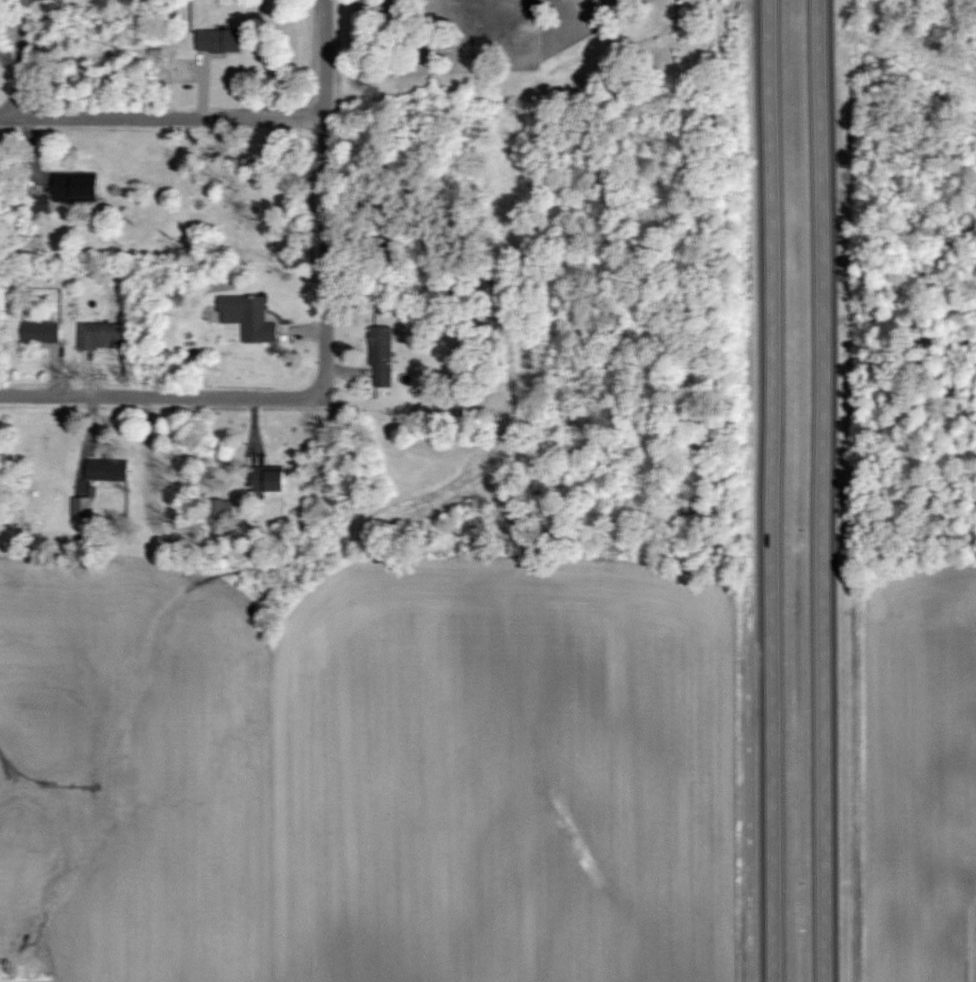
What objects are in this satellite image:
building: (218, 39)
road: (17, 59)
road: (163, 119)
building: (76, 188)
road: (326, 200)
building: (250, 316)
building: (40, 331)
building: (99, 335)
building: (380, 356)
road: (161, 398)
building: (105, 469)
building: (267, 480)
road: (770, 490)
road: (822, 490)
building: (80, 506)

